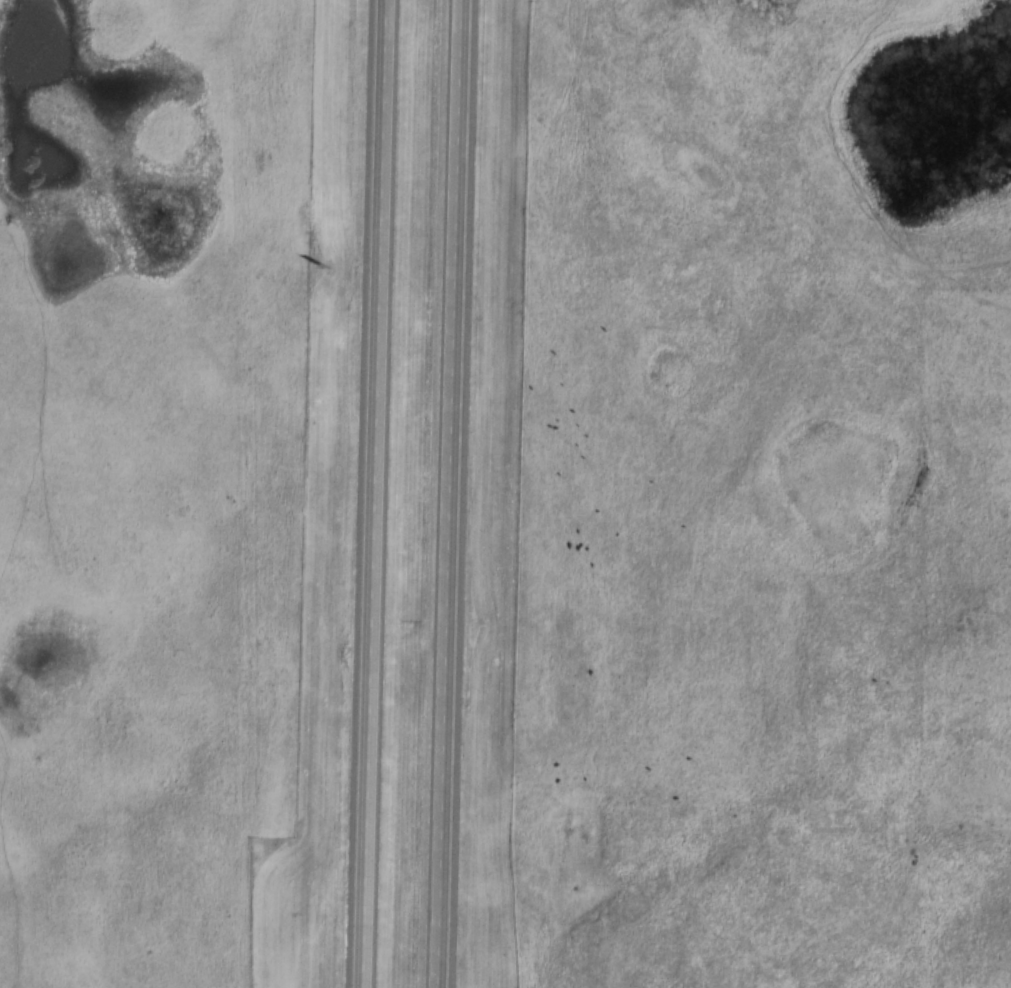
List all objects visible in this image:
road: (376, 494)
road: (459, 494)

